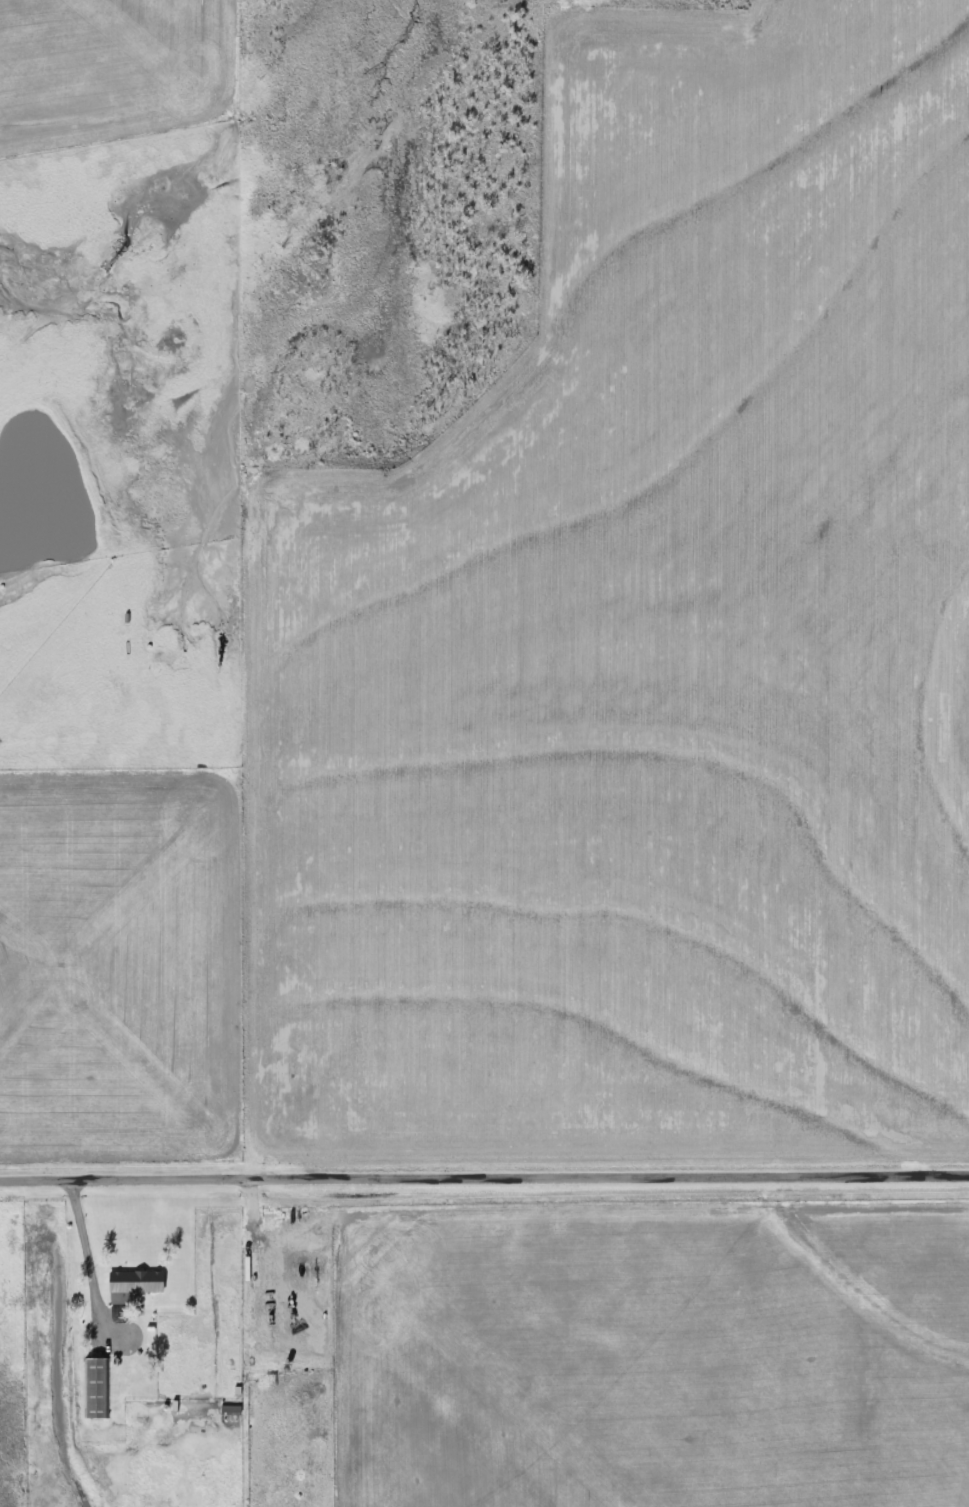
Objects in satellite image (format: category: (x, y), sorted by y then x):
road: (484, 1174)
road: (88, 1258)
building: (135, 1279)
building: (97, 1384)

